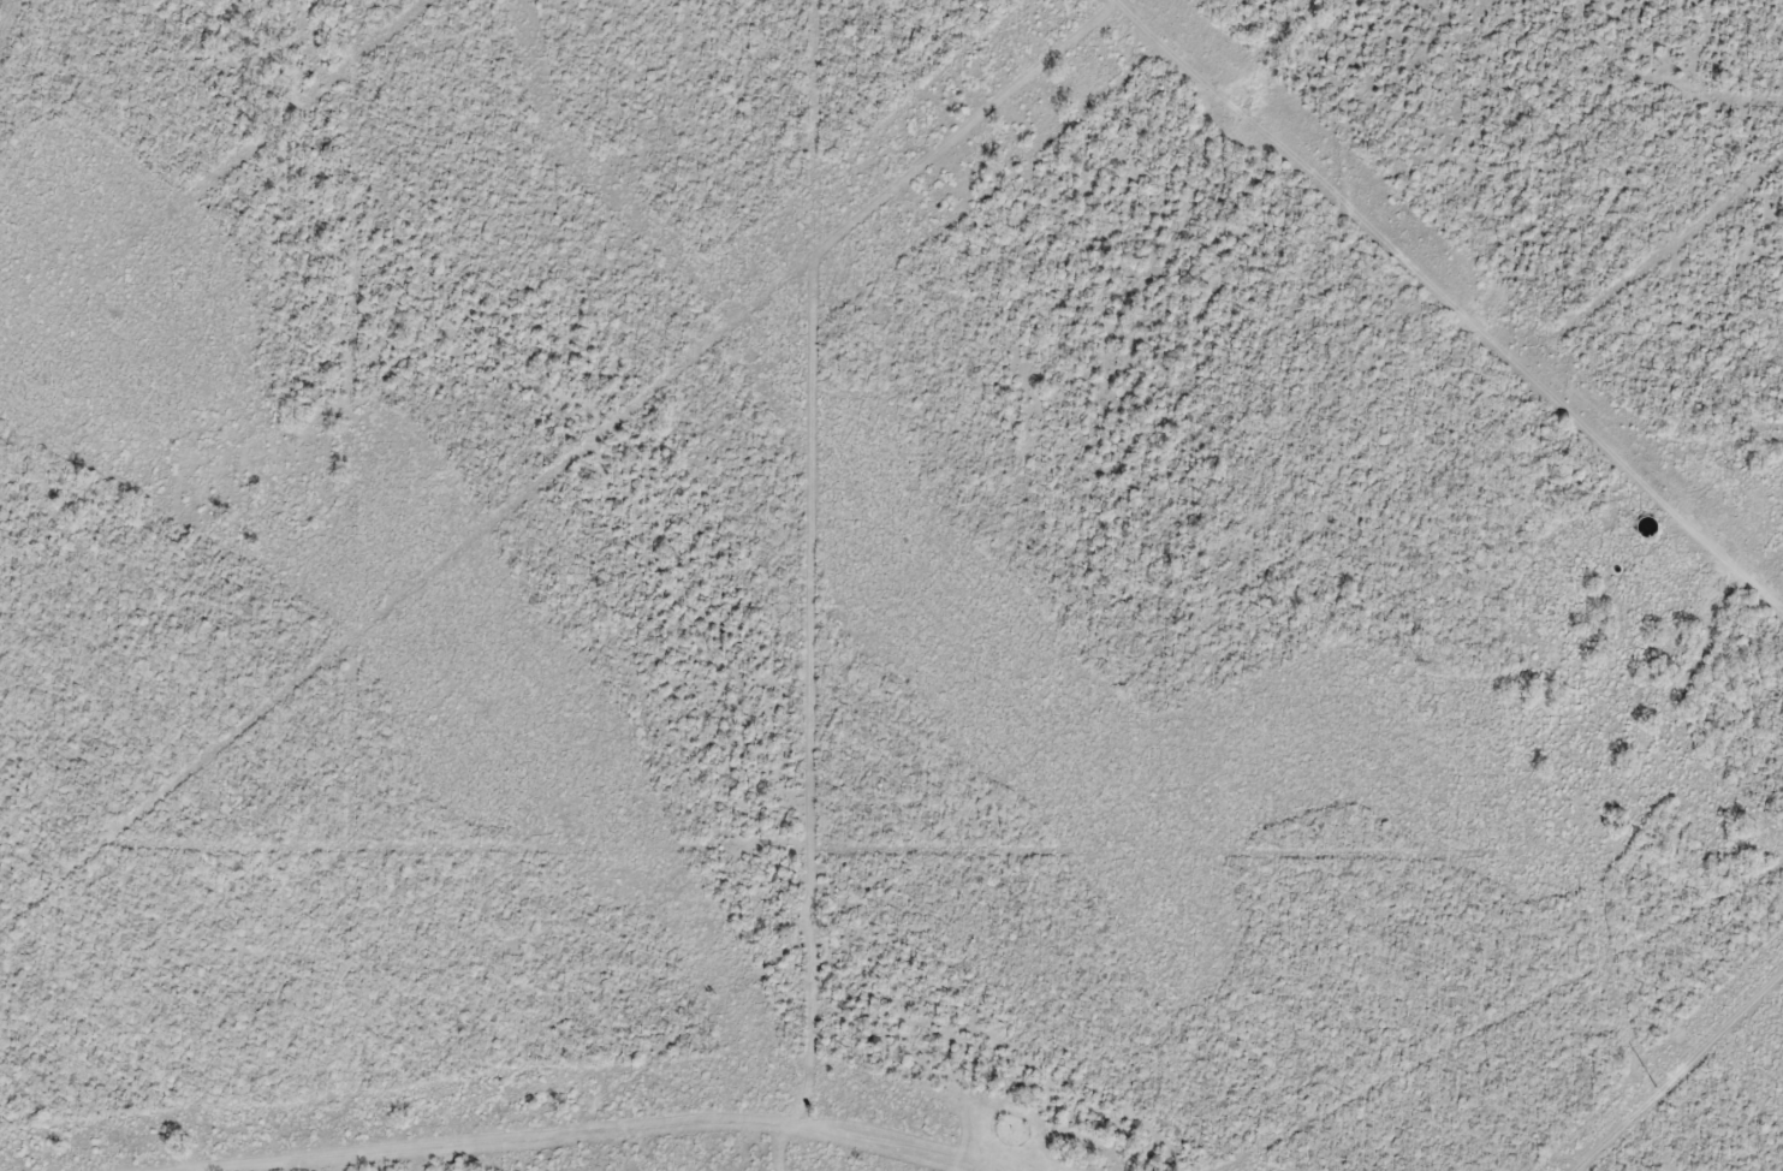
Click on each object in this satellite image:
power tower: (1656, 1086)

